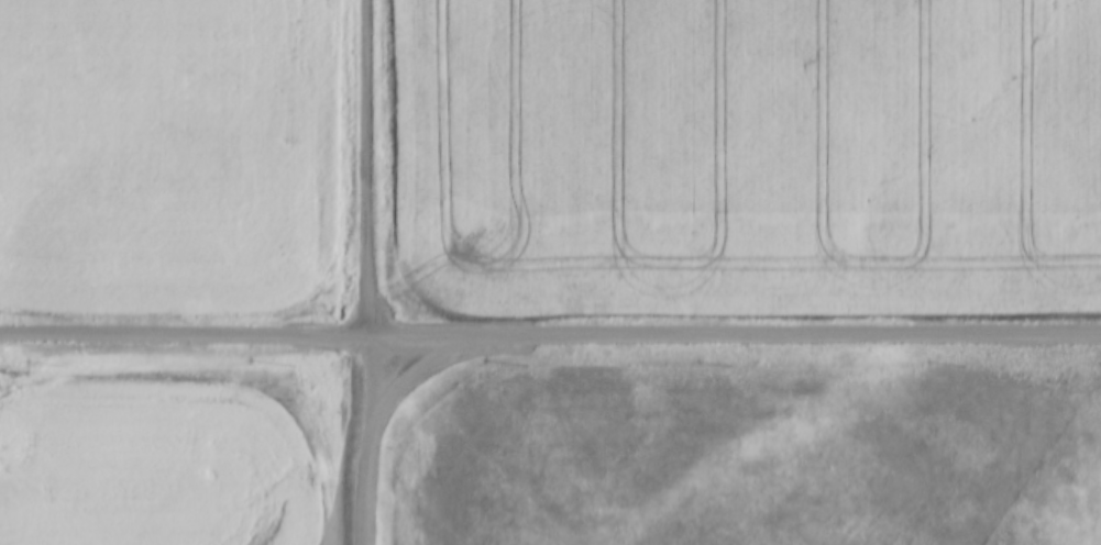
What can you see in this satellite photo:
road: (368, 220)
road: (802, 336)
road: (251, 338)
road: (423, 369)
road: (370, 492)

